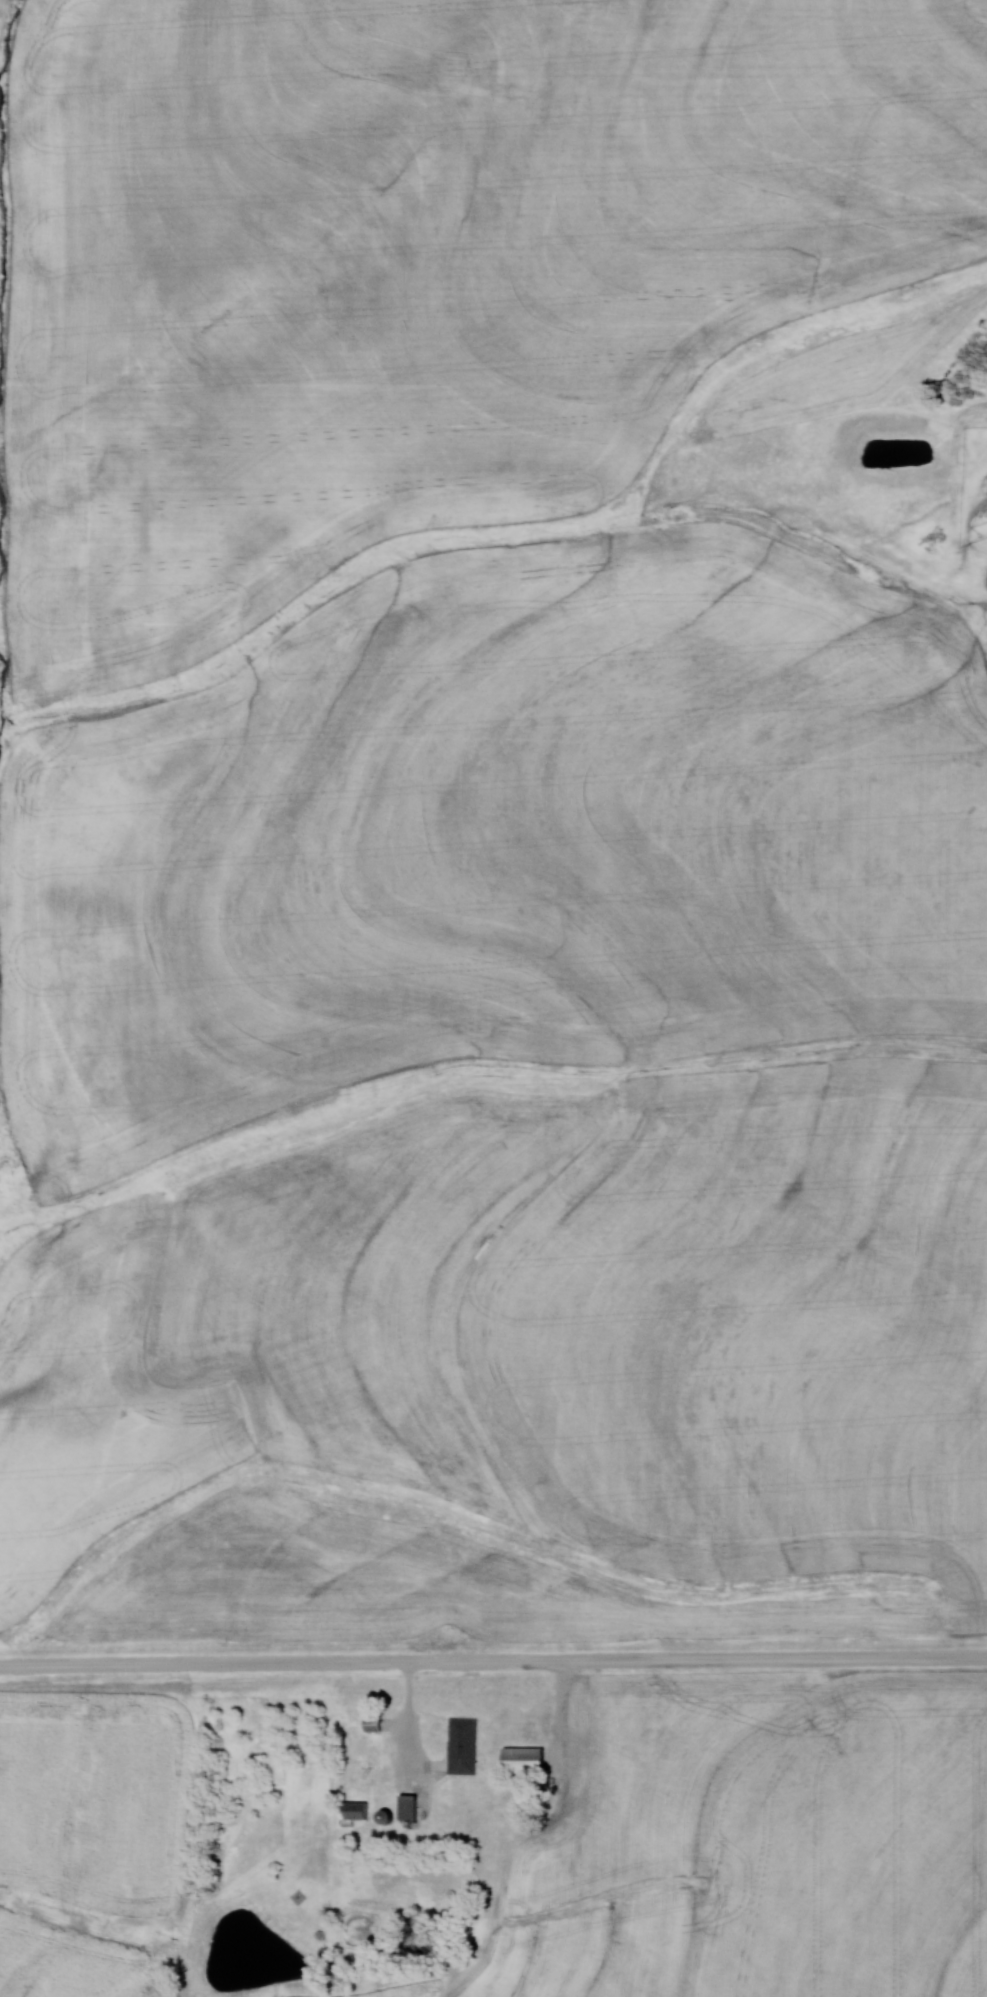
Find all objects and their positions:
road: (493, 1665)
road: (410, 1721)
building: (375, 1723)
building: (463, 1745)
building: (527, 1763)
building: (411, 1806)
building: (360, 1810)

